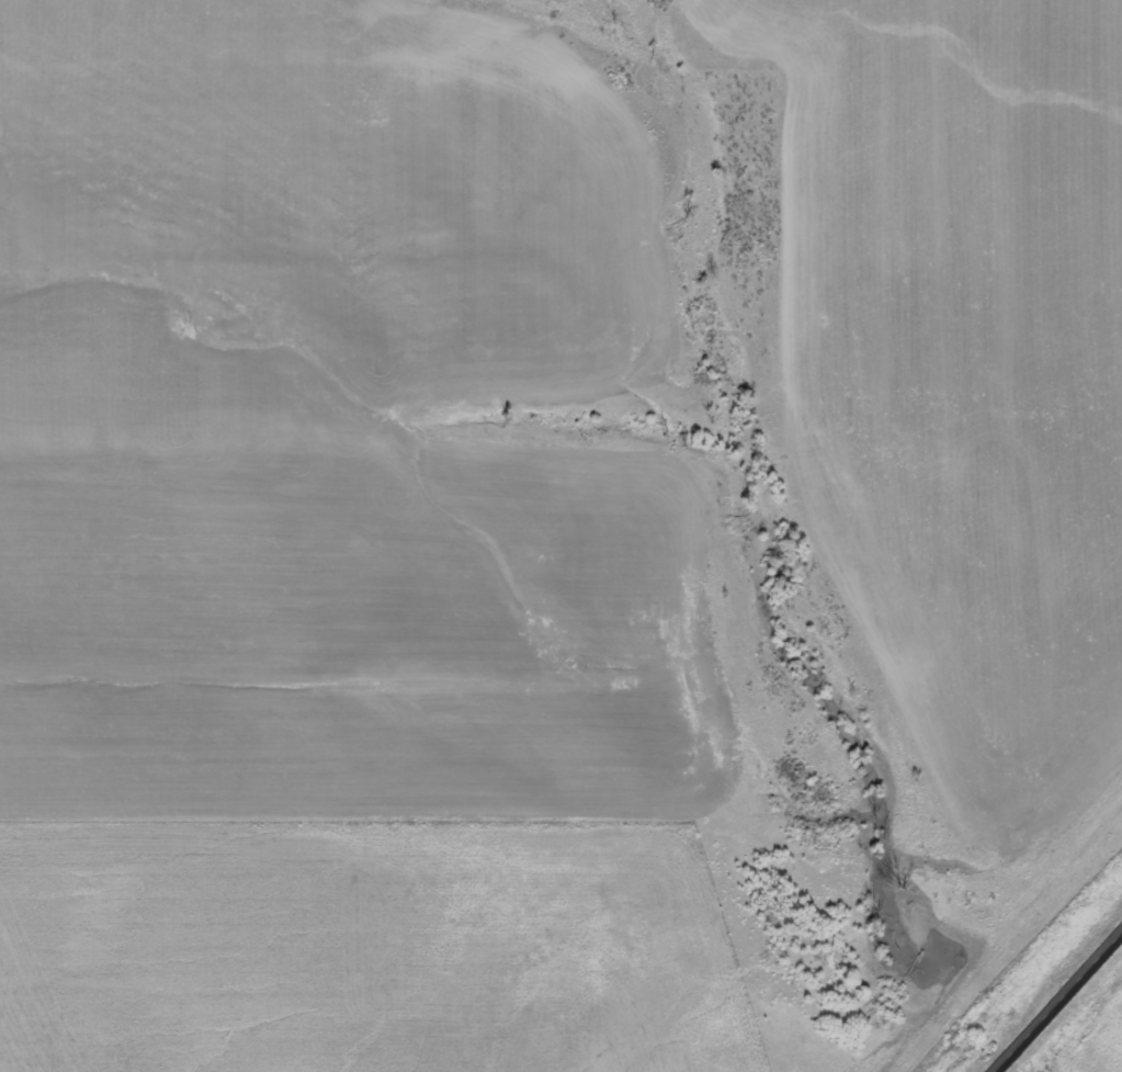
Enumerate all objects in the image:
railway: (1016, 957)
road: (1059, 1004)

